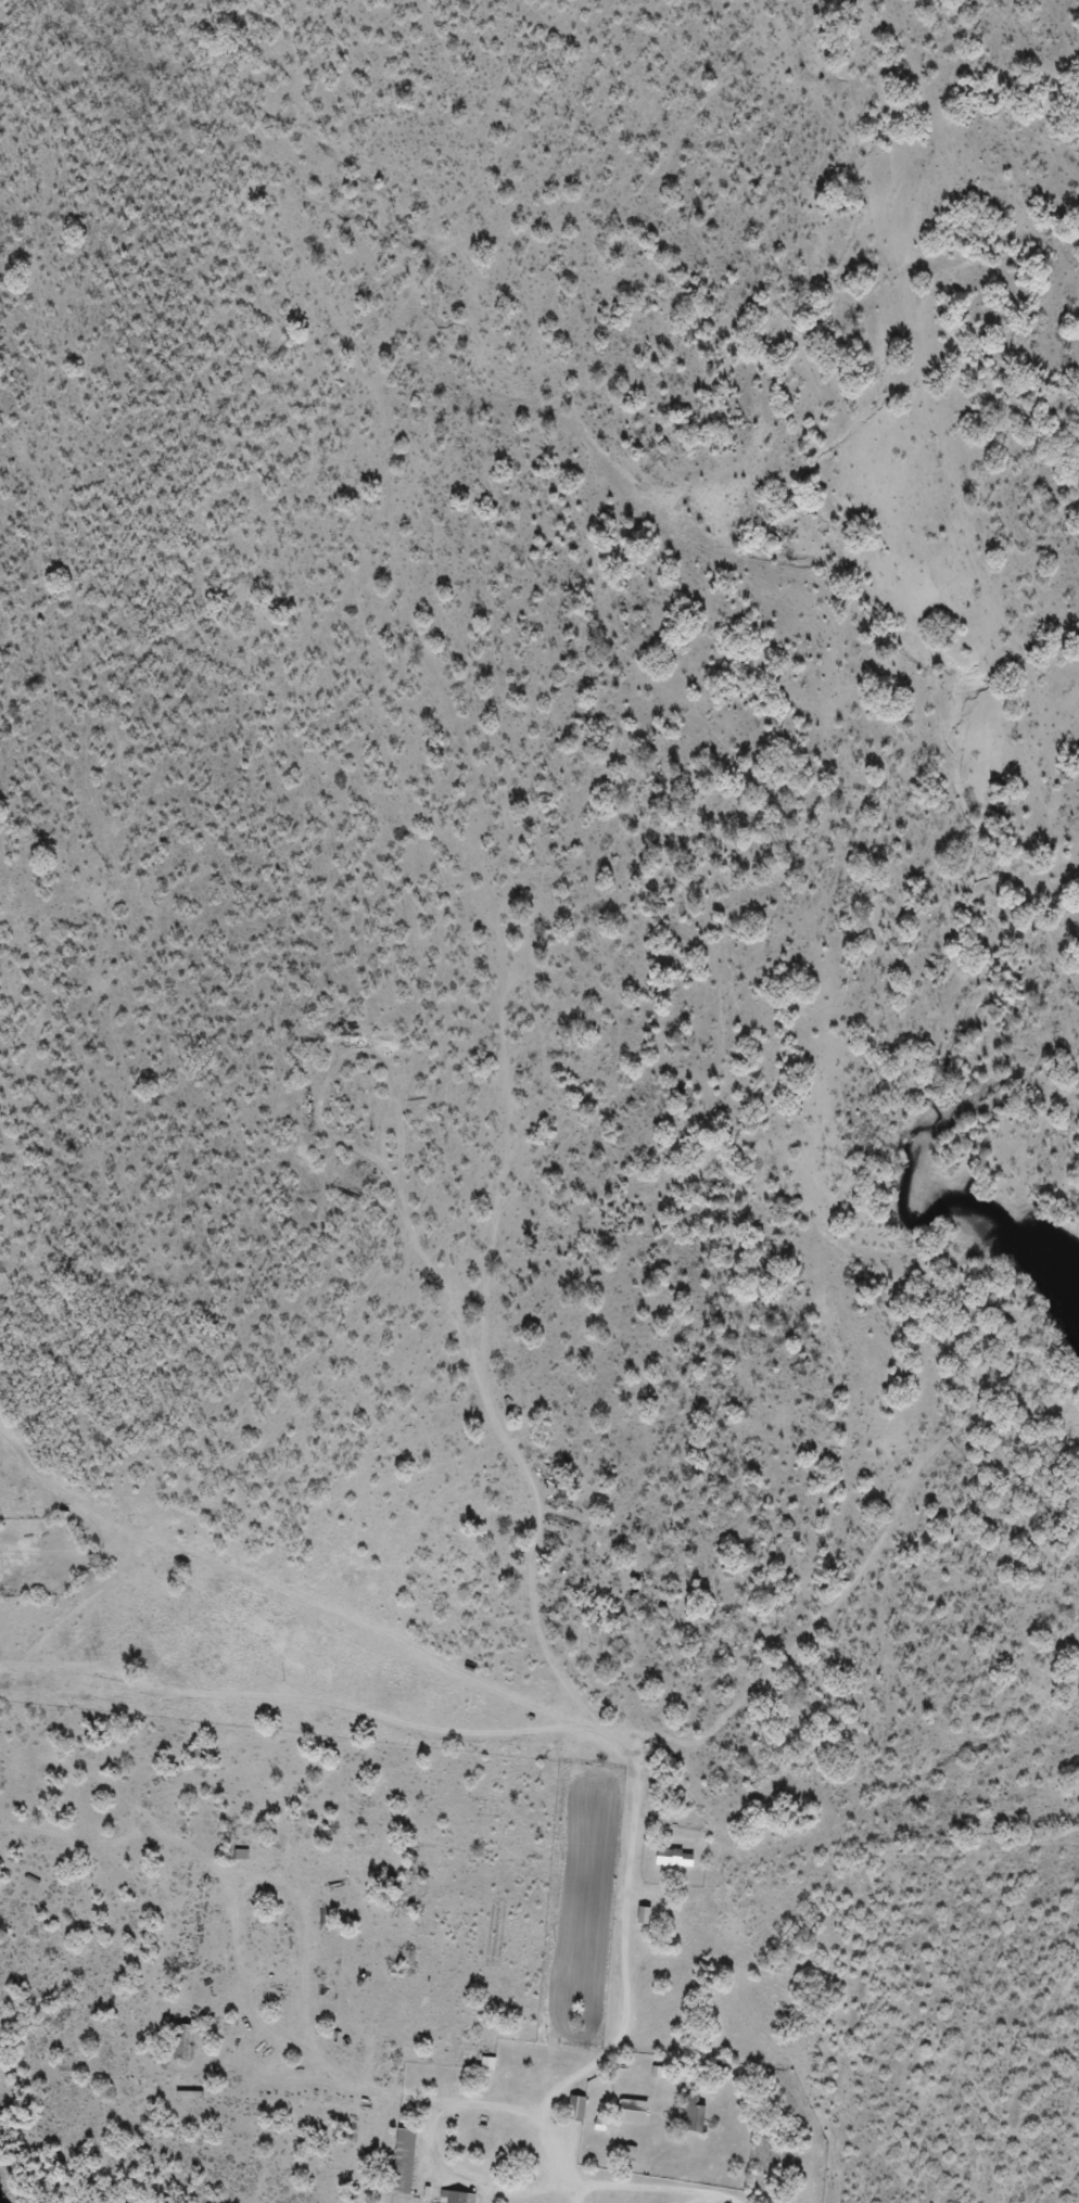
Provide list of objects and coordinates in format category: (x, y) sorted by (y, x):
road: (536, 1758)
building: (241, 1856)
building: (672, 1860)
road: (842, 1862)
building: (407, 1892)
building: (185, 2041)
building: (487, 2064)
building: (576, 2106)
building: (632, 2111)
building: (691, 2117)
building: (404, 2162)
building: (460, 2196)

